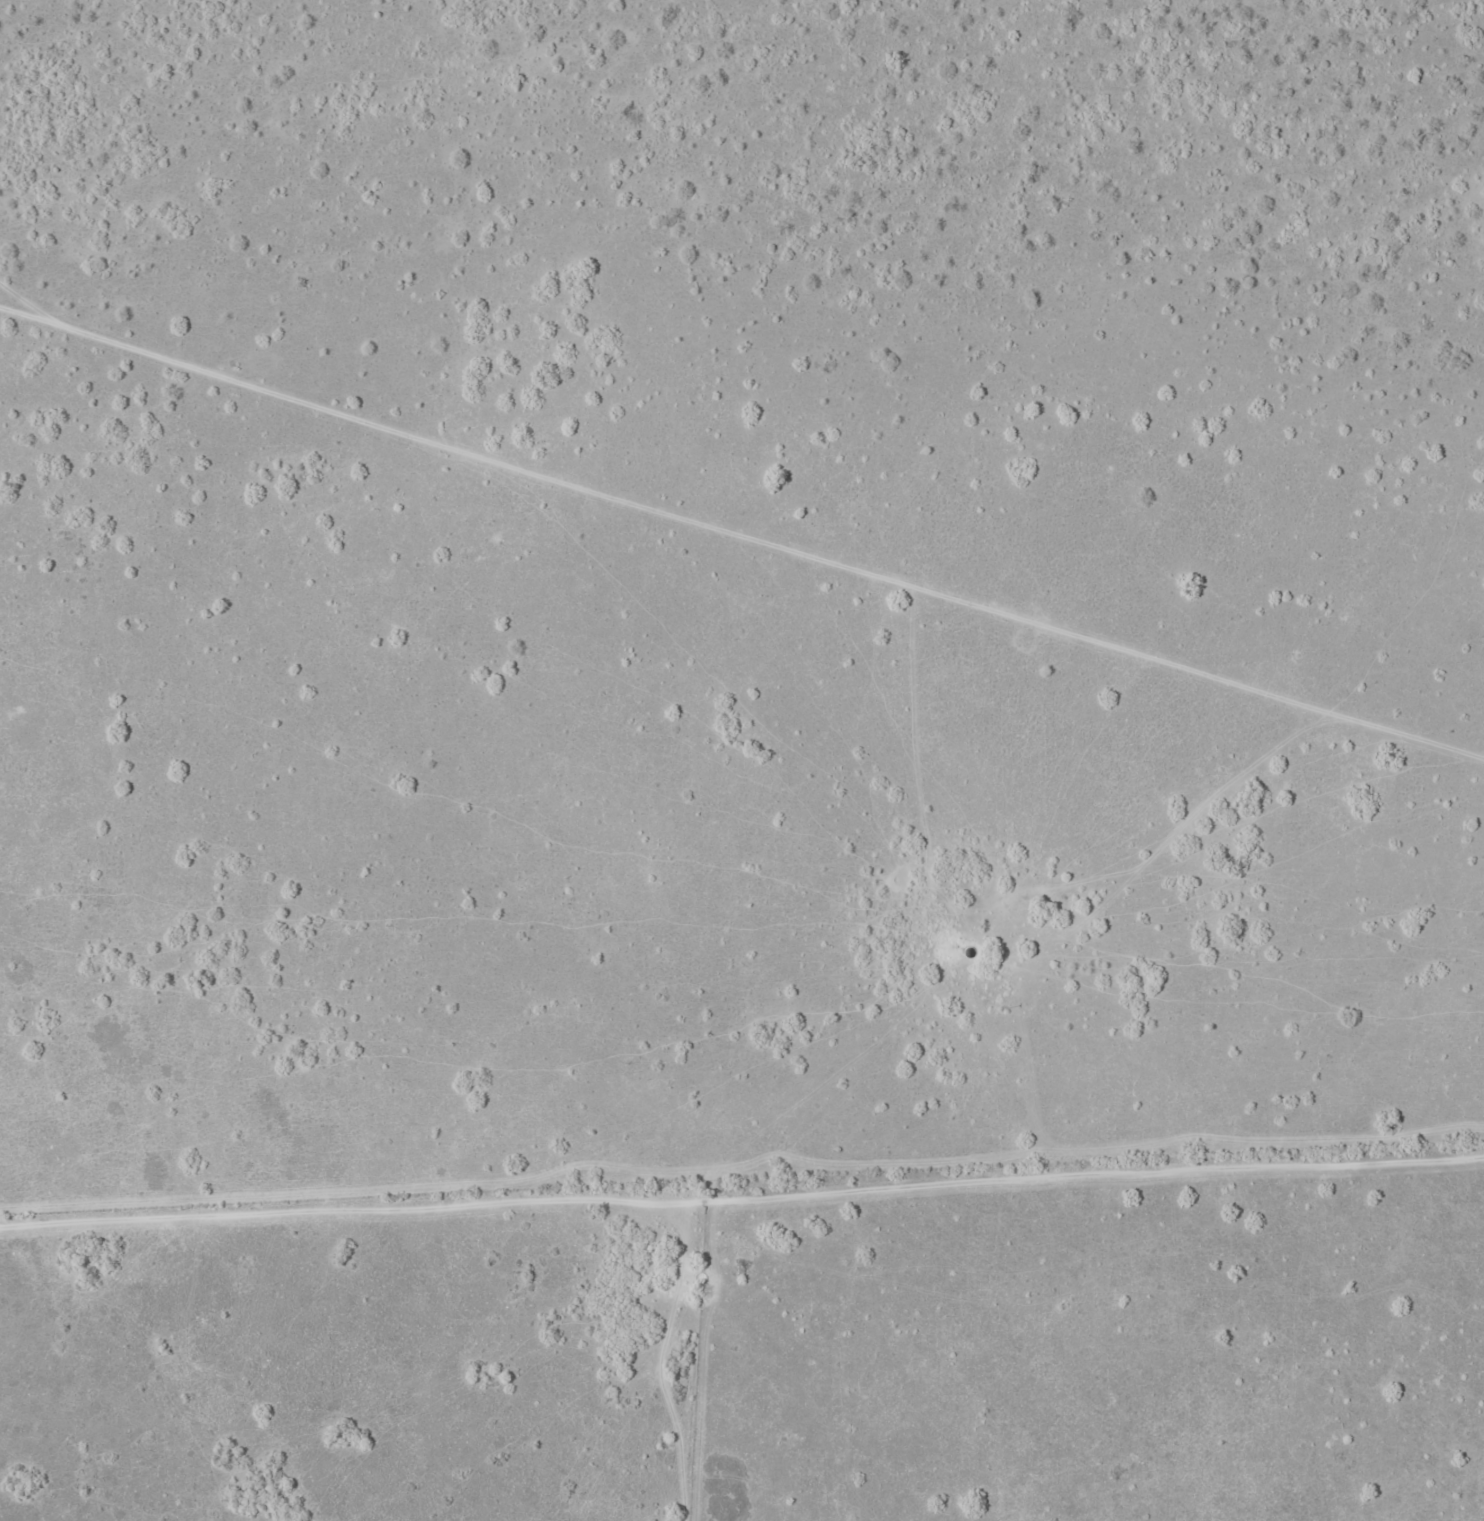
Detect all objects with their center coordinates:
road: (742, 550)
road: (741, 1198)

